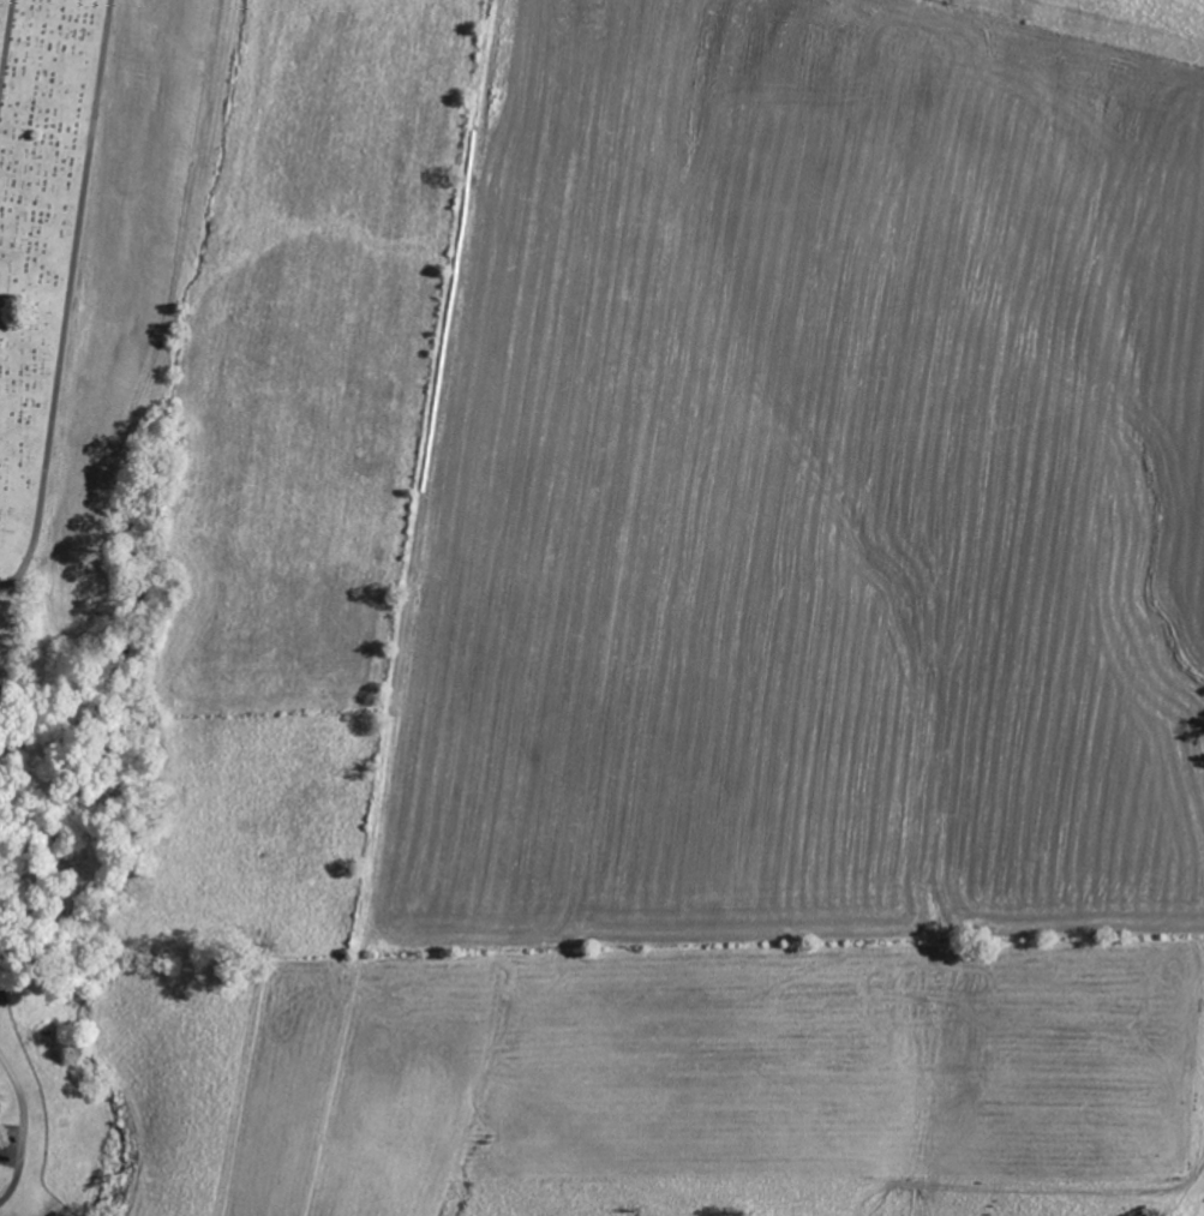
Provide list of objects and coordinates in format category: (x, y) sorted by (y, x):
road: (6, 53)
park: (41, 262)
road: (68, 301)

